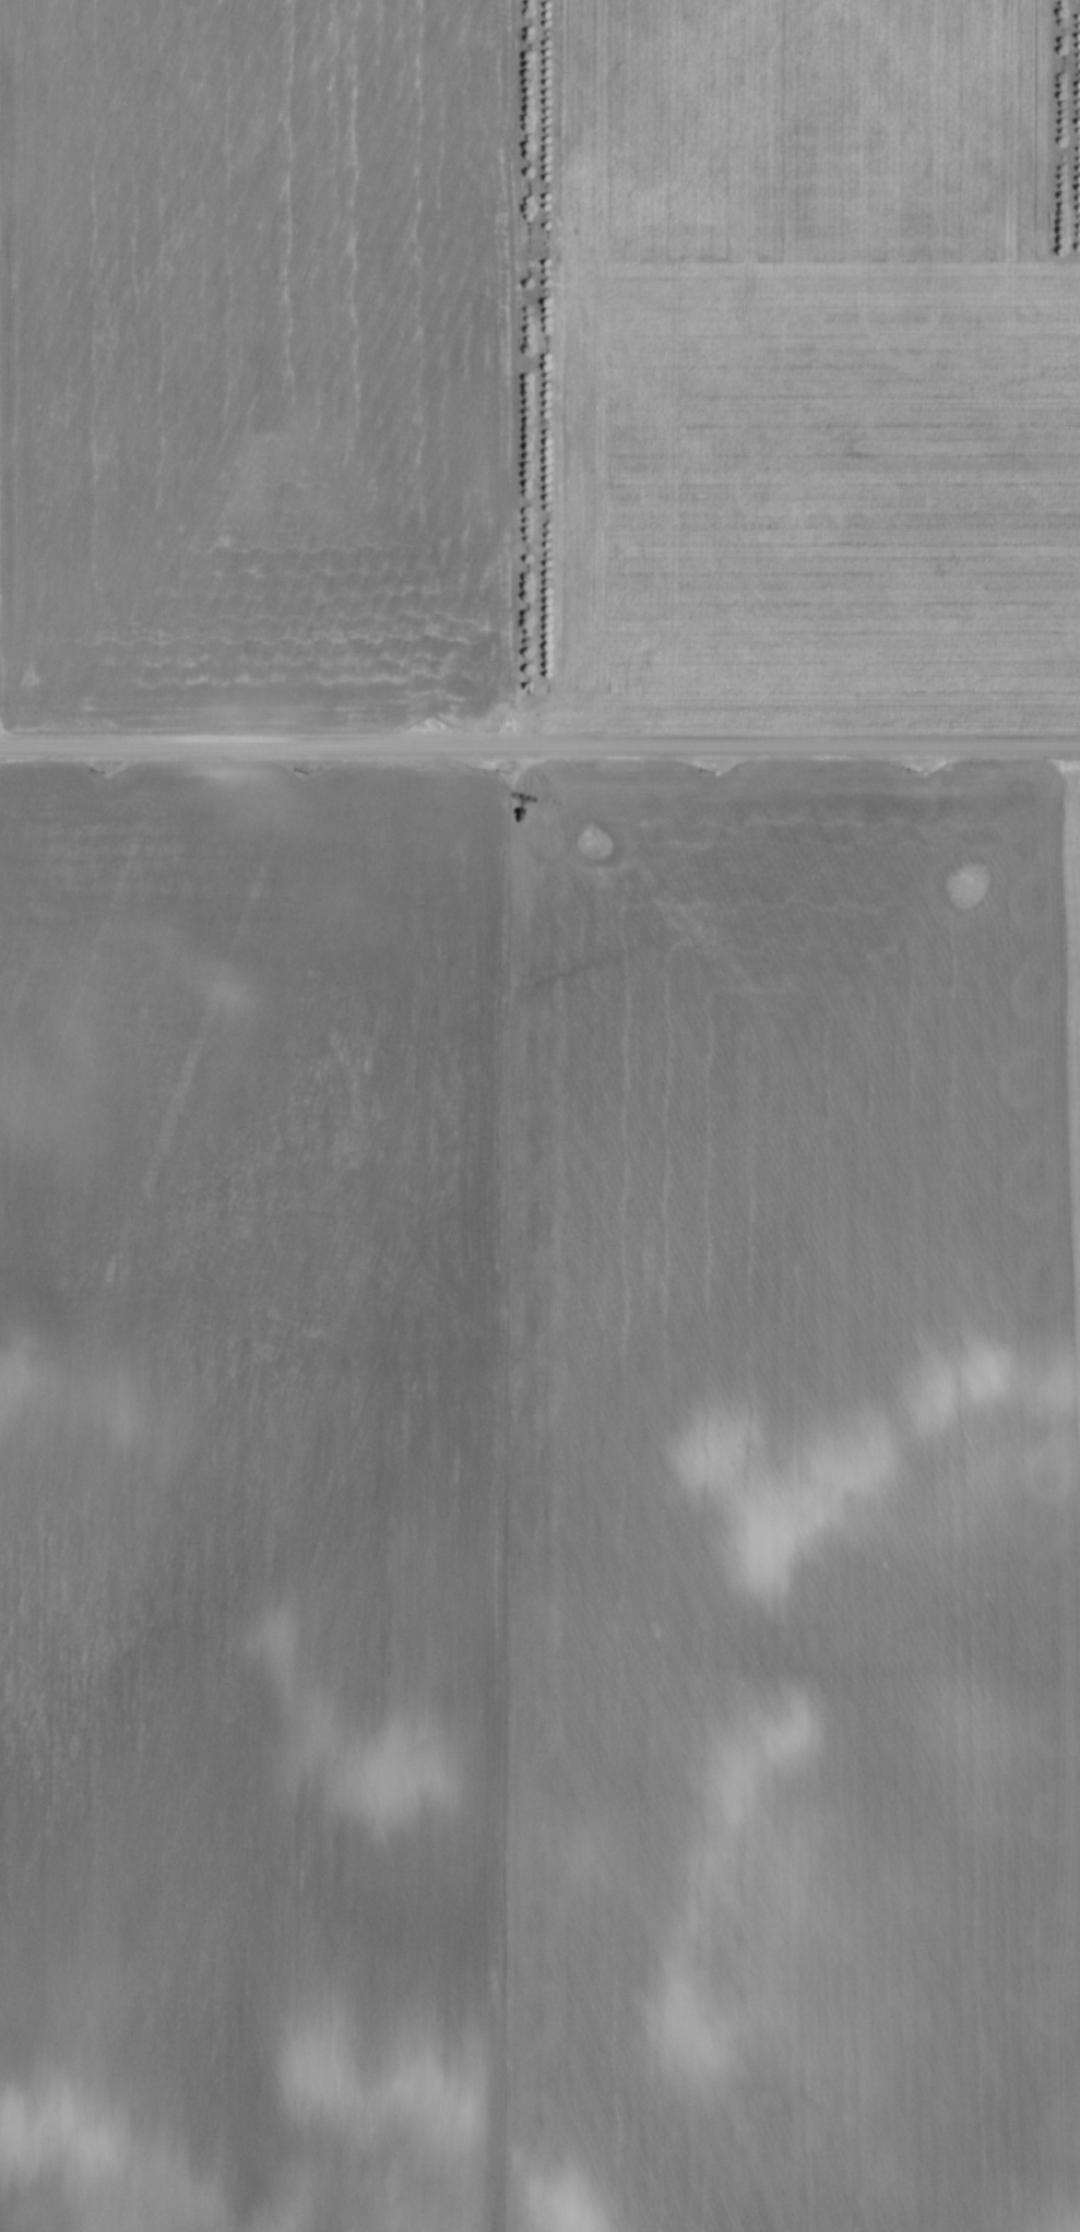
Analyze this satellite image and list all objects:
crop: (816, 476)
road: (539, 750)
crop: (539, 1504)

